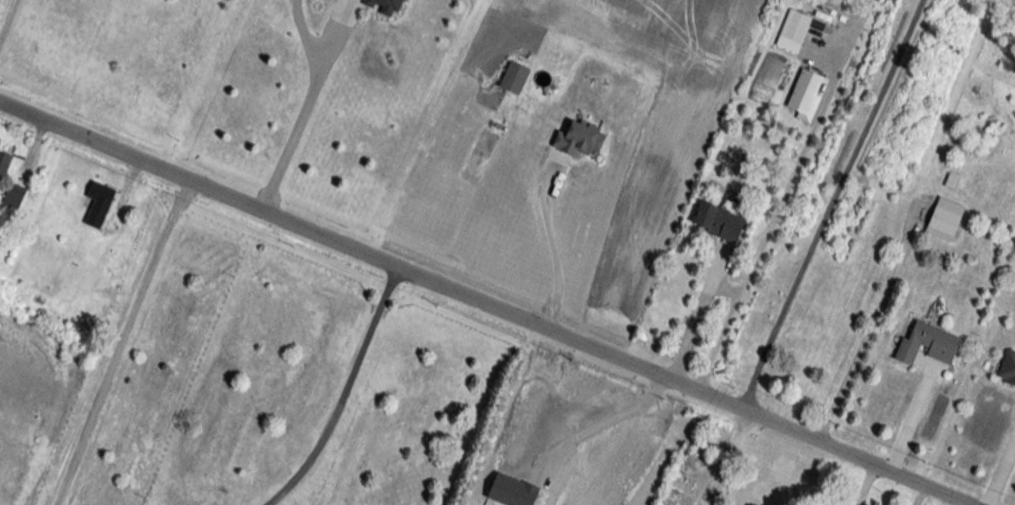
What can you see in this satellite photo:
building: (383, 4)
road: (10, 23)
building: (794, 26)
building: (512, 77)
building: (804, 95)
road: (307, 114)
building: (579, 138)
building: (4, 163)
crop: (657, 182)
building: (12, 196)
road: (830, 203)
building: (97, 205)
building: (943, 219)
building: (716, 221)
road: (552, 243)
road: (485, 304)
road: (698, 314)
road: (866, 333)
road: (123, 344)
building: (927, 344)
building: (1007, 369)
road: (347, 392)
road: (912, 413)
road: (722, 457)
road: (1001, 472)
building: (677, 477)
road: (866, 481)

